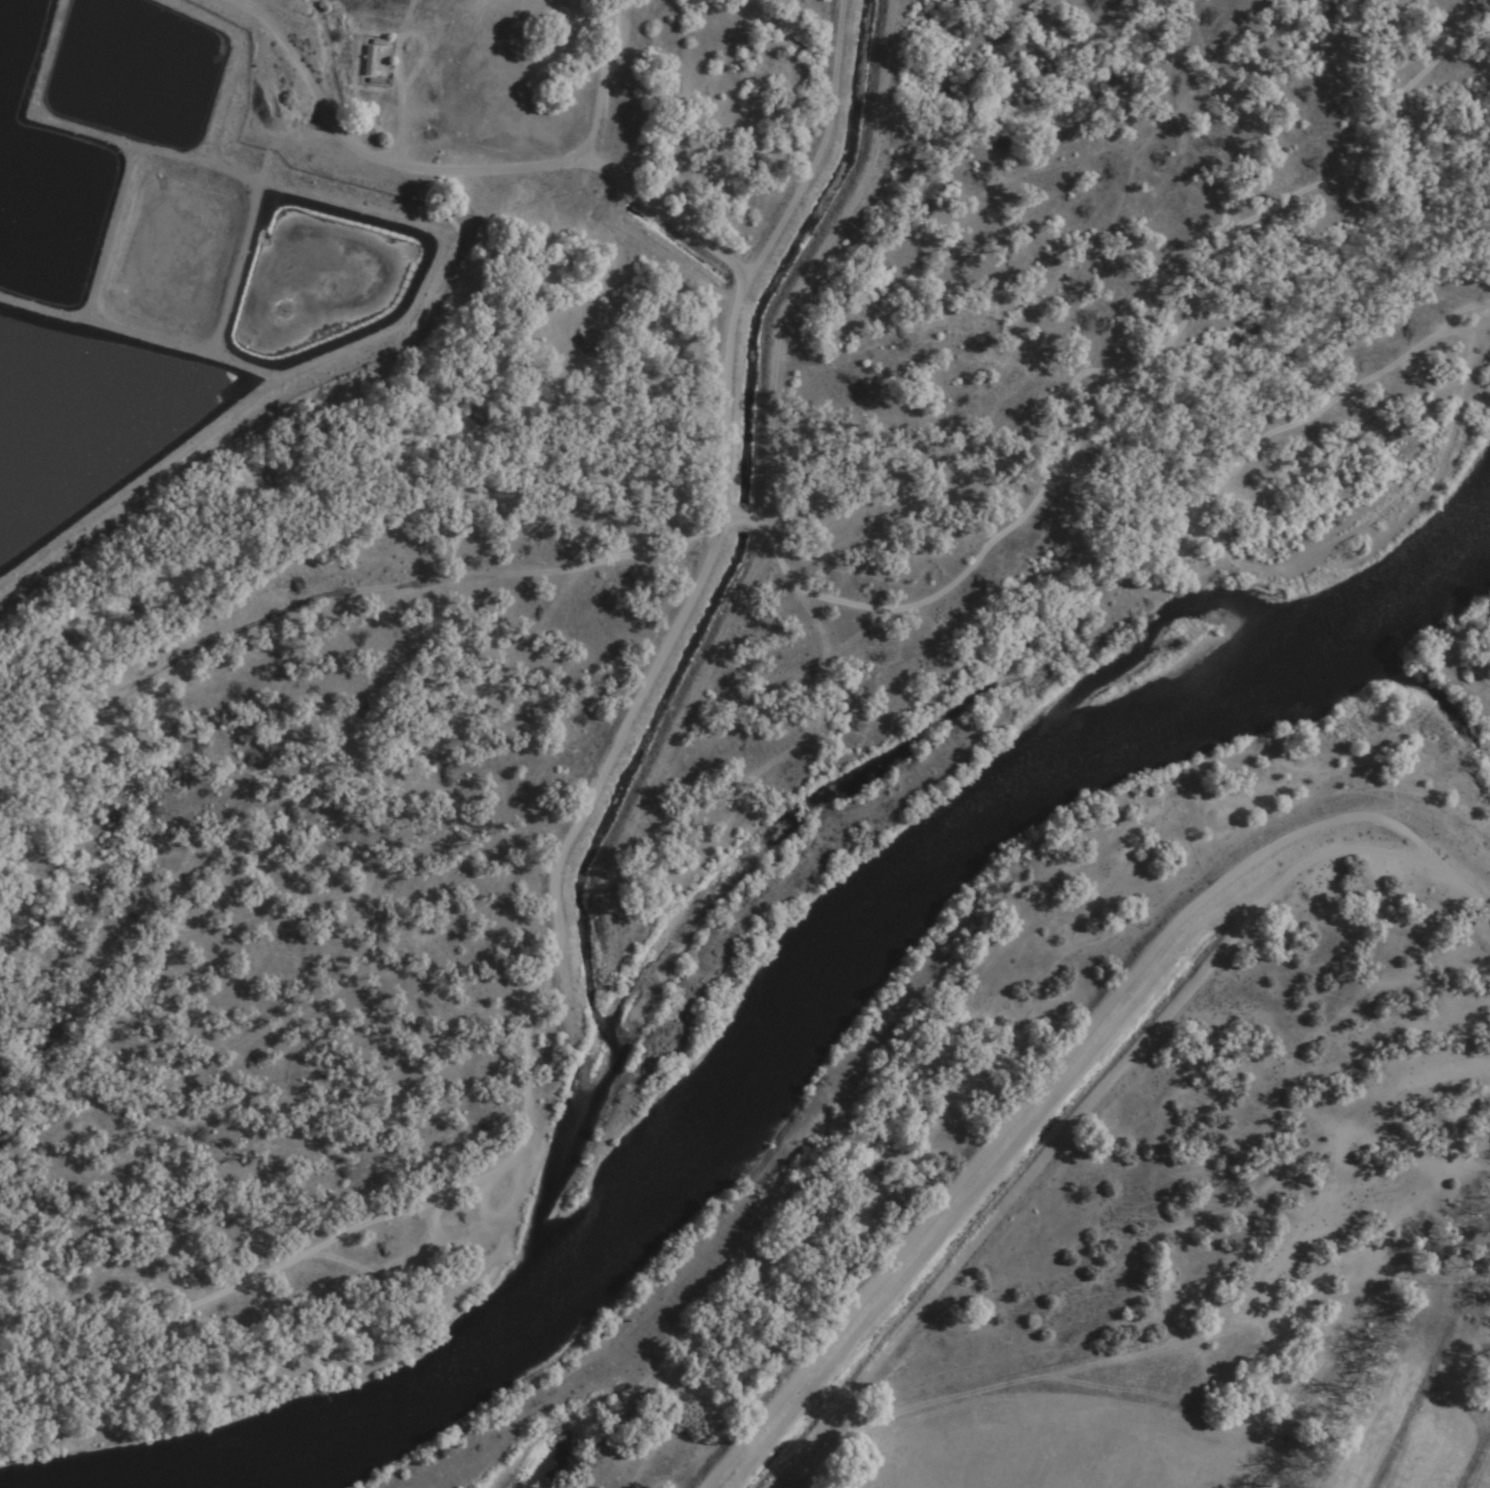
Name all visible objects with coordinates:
road: (278, 34)
river: (1432, 685)
river: (841, 984)

